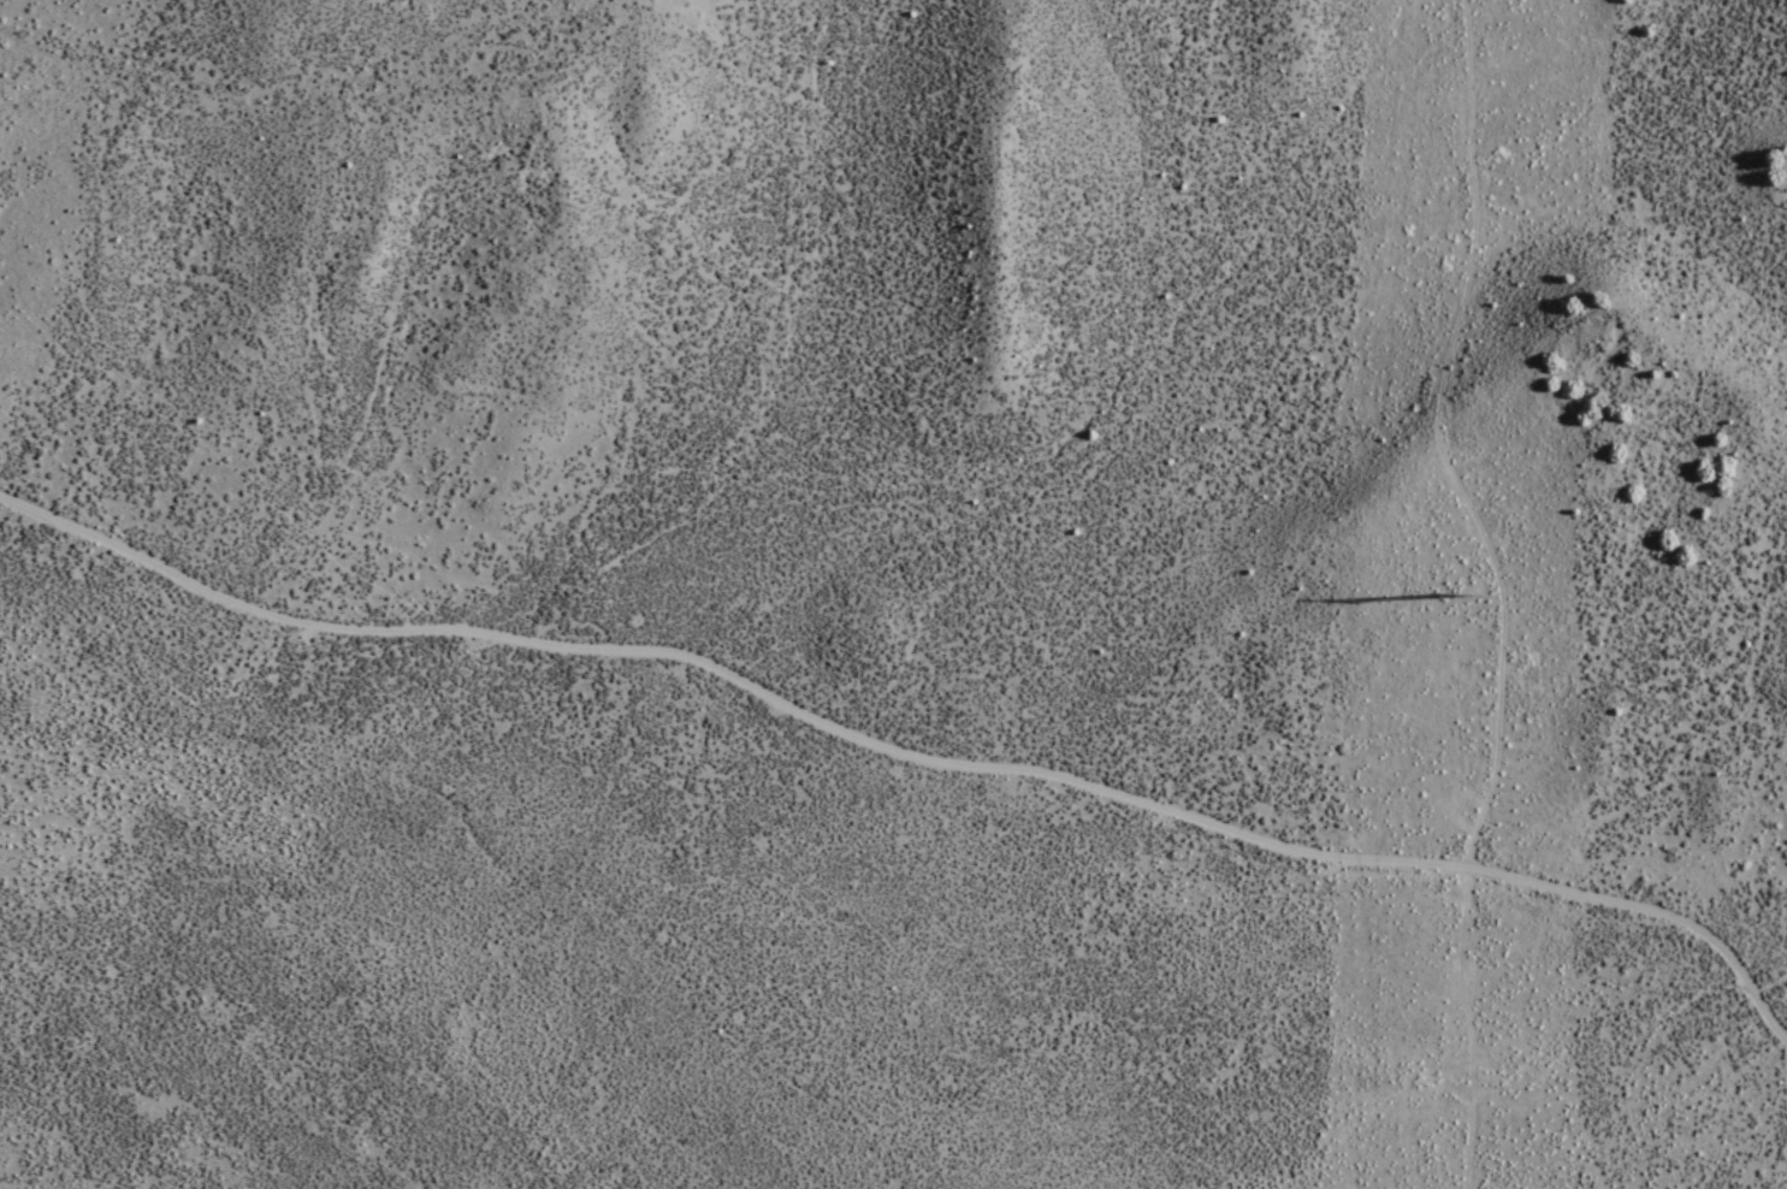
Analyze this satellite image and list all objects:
road: (1490, 590)
power tower: (1456, 607)
road: (907, 771)
crop: (525, 846)

